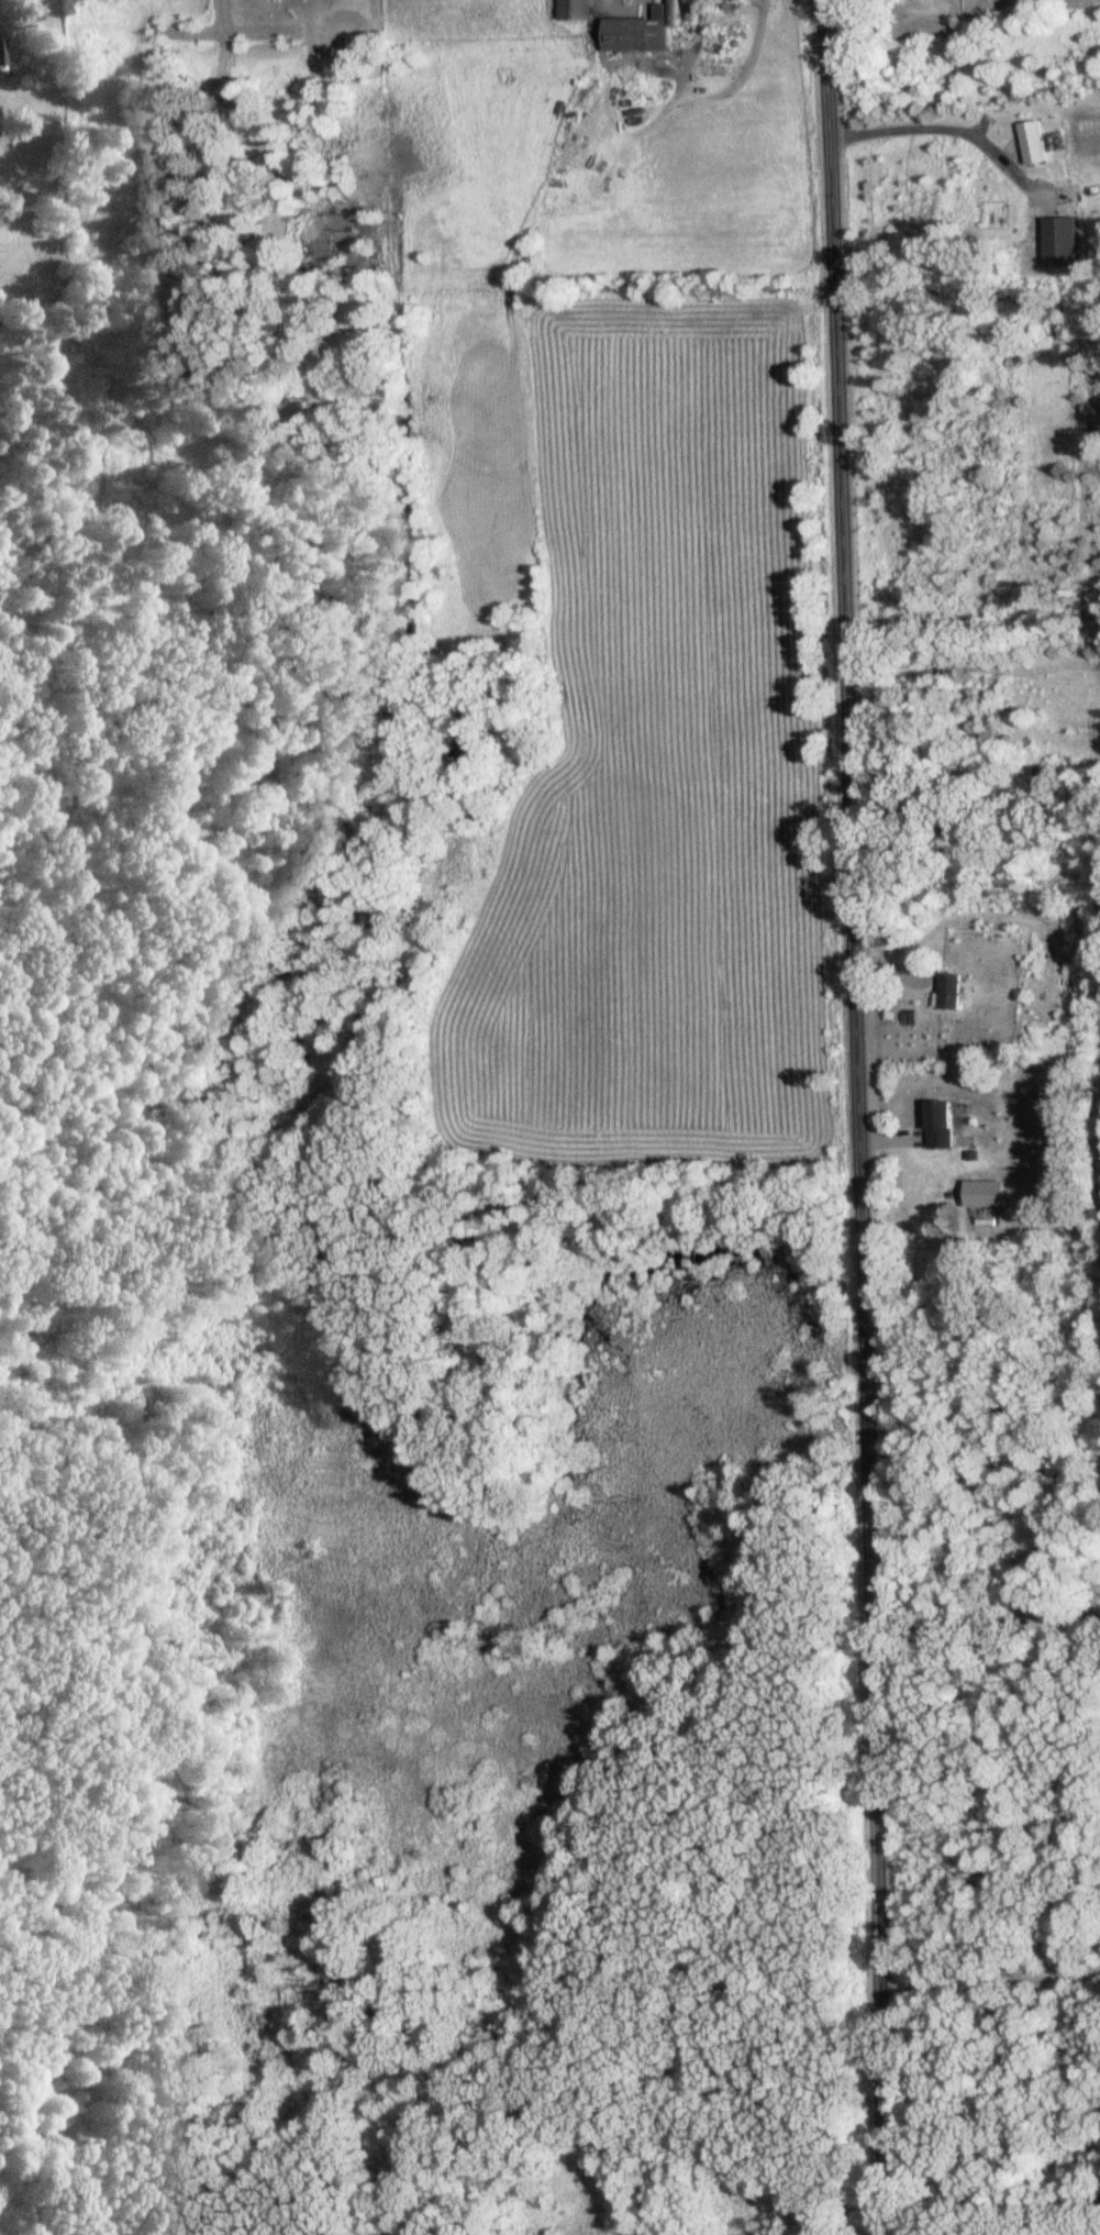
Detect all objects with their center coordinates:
building: (574, 10)
building: (640, 30)
building: (2, 54)
building: (1032, 142)
road: (930, 146)
building: (1064, 195)
building: (1058, 243)
building: (948, 992)
road: (851, 1117)
building: (938, 1124)
building: (984, 1218)
road: (982, 1625)
road: (987, 2000)
road: (1096, 2234)

